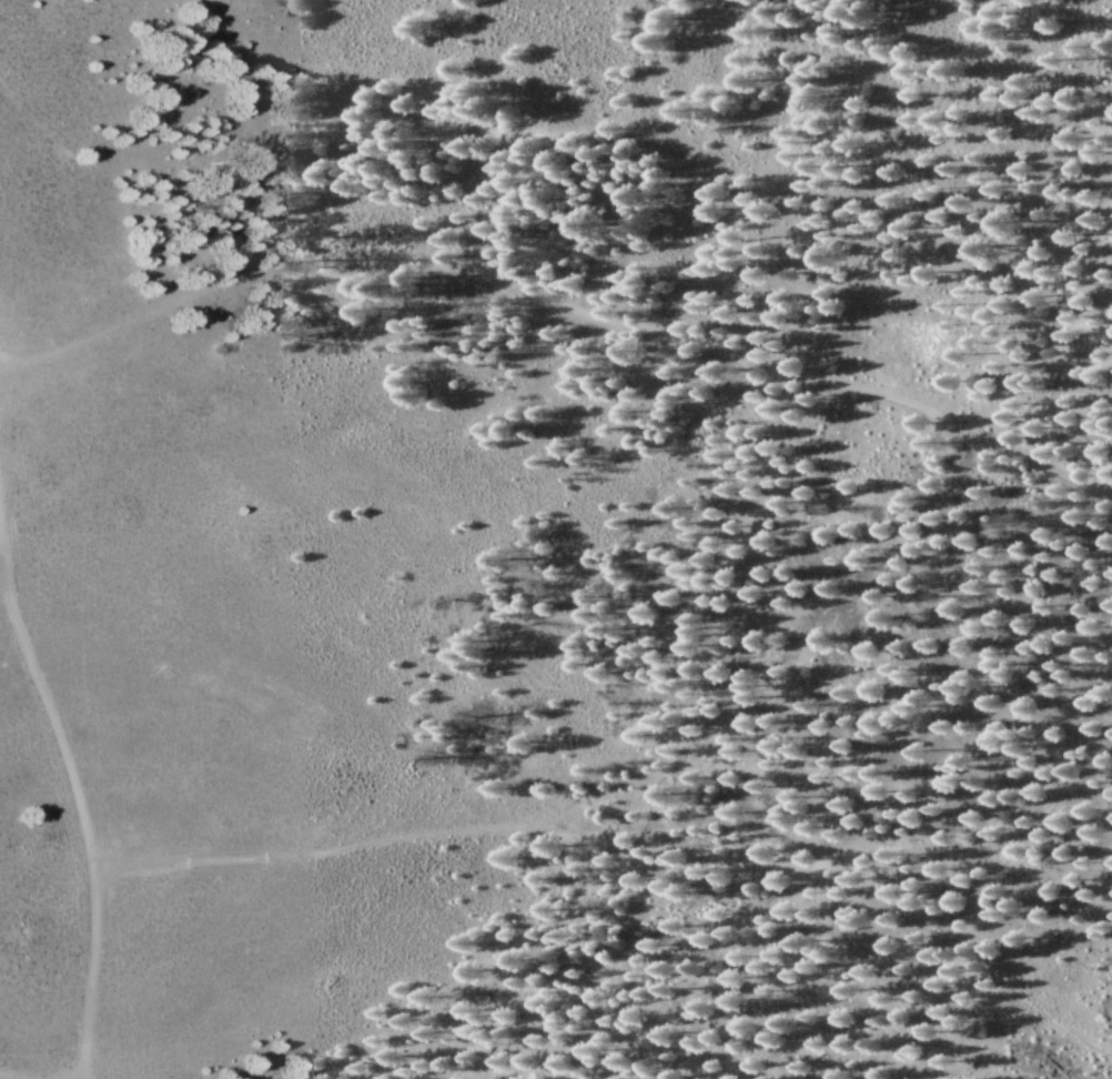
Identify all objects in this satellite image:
road: (54, 887)

